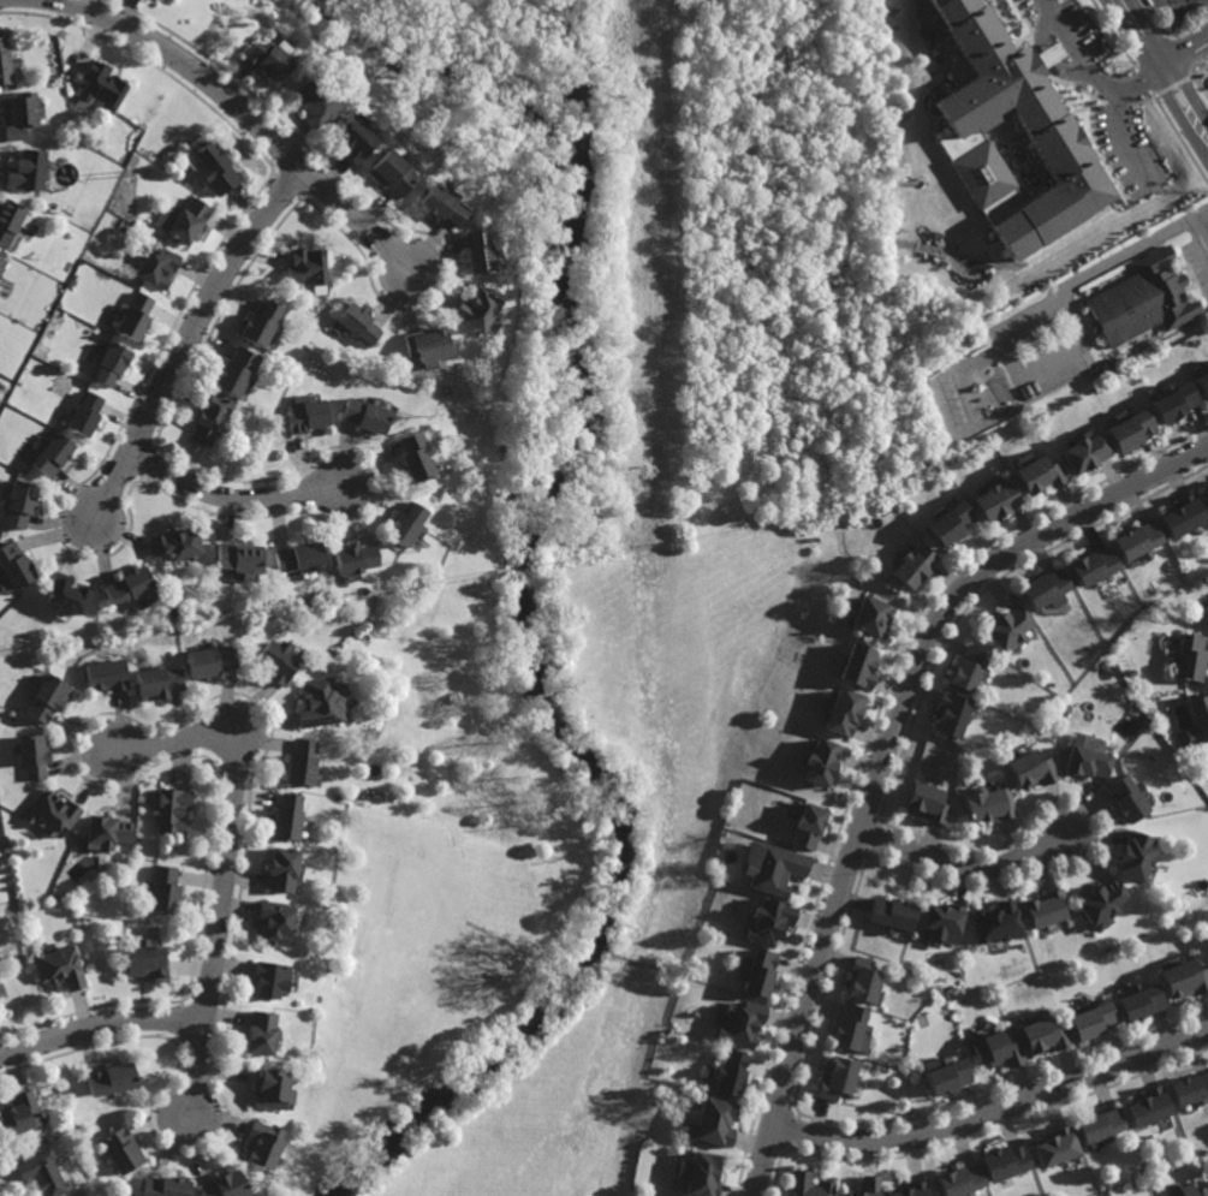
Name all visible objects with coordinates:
road: (1185, 50)
building: (1048, 54)
building: (267, 56)
building: (4, 63)
road: (1164, 69)
road: (1089, 70)
building: (101, 87)
building: (315, 102)
road: (250, 114)
building: (19, 115)
building: (1012, 133)
building: (353, 139)
road: (1123, 139)
building: (213, 167)
power tower: (125, 168)
building: (26, 169)
building: (392, 172)
building: (442, 204)
building: (190, 219)
building: (10, 221)
building: (477, 250)
building: (2, 266)
building: (307, 266)
building: (159, 267)
building: (1144, 299)
building: (475, 310)
building: (135, 315)
building: (262, 322)
building: (355, 323)
road: (191, 339)
building: (427, 345)
building: (111, 362)
building: (1114, 363)
building: (1207, 365)
building: (1106, 367)
building: (237, 371)
building: (1202, 385)
power tower: (6, 401)
building: (1176, 404)
building: (85, 412)
building: (365, 413)
building: (307, 415)
building: (210, 418)
building: (1132, 430)
building: (53, 453)
building: (1089, 454)
building: (413, 456)
building: (1040, 476)
building: (1206, 490)
building: (1206, 495)
road: (232, 496)
building: (999, 502)
building: (19, 504)
building: (1185, 519)
building: (405, 523)
building: (950, 525)
building: (177, 543)
building: (1142, 545)
building: (299, 555)
building: (240, 558)
building: (355, 558)
building: (14, 566)
building: (911, 569)
building: (1095, 571)
building: (131, 588)
building: (1048, 594)
building: (66, 595)
building: (311, 607)
building: (1207, 612)
building: (1207, 615)
building: (868, 623)
building: (1011, 632)
building: (210, 657)
building: (279, 659)
building: (1189, 661)
building: (857, 672)
building: (109, 673)
building: (971, 673)
building: (160, 680)
building: (49, 696)
building: (321, 702)
building: (837, 707)
building: (948, 712)
building: (1198, 719)
building: (816, 755)
building: (1085, 755)
building: (35, 756)
road: (895, 756)
building: (302, 763)
building: (1028, 763)
building: (1125, 793)
building: (922, 796)
building: (983, 798)
building: (172, 809)
building: (53, 813)
building: (287, 817)
building: (803, 820)
building: (107, 832)
building: (1133, 852)
building: (770, 865)
building: (281, 868)
road: (226, 869)
road: (969, 869)
building: (161, 889)
building: (1099, 900)
building: (1043, 905)
building: (889, 910)
building: (764, 917)
building: (936, 918)
building: (992, 920)
building: (274, 922)
building: (141, 959)
building: (59, 965)
building: (755, 969)
building: (267, 977)
building: (861, 977)
building: (1183, 977)
building: (1138, 1000)
building: (1090, 1019)
building: (737, 1021)
road: (100, 1024)
building: (847, 1024)
building: (258, 1031)
building: (1041, 1034)
building: (996, 1047)
building: (725, 1072)
building: (941, 1073)
building: (834, 1077)
building: (109, 1078)
building: (268, 1087)
building: (1191, 1089)
building: (1148, 1106)
road: (998, 1109)
building: (20, 1113)
building: (707, 1121)
building: (1099, 1125)
building: (261, 1144)
building: (1054, 1147)
building: (123, 1149)
building: (1001, 1162)
building: (43, 1172)
building: (697, 1174)
building: (957, 1180)
building: (224, 1185)
building: (805, 1185)
building: (165, 1186)
building: (867, 1186)
building: (909, 1190)
building: (1190, 1190)

